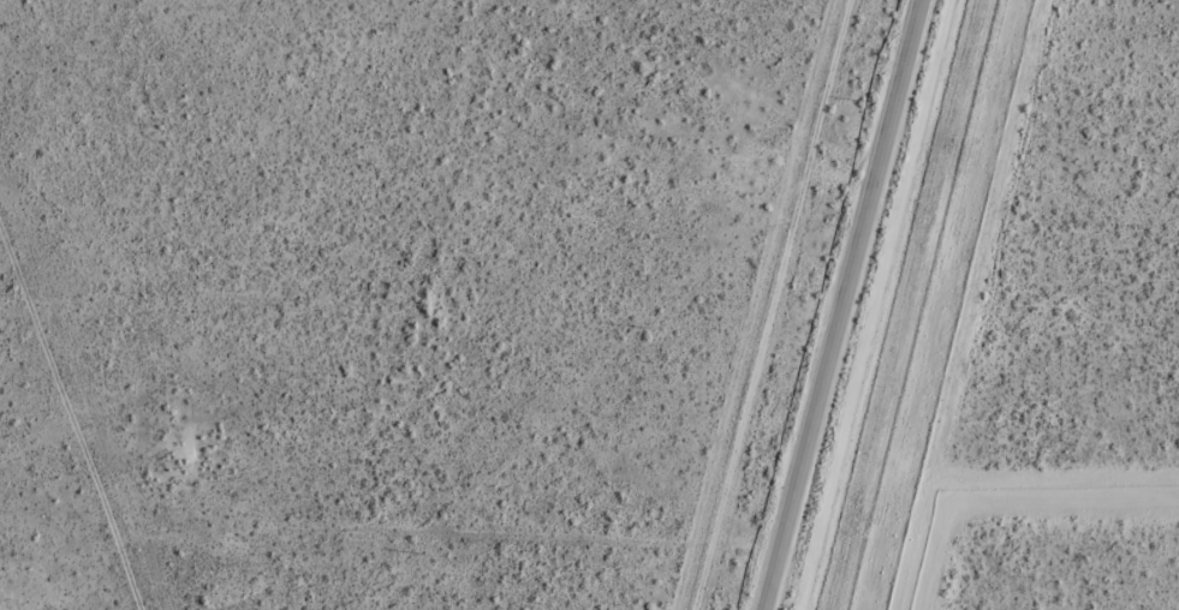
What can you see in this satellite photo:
road: (845, 305)

